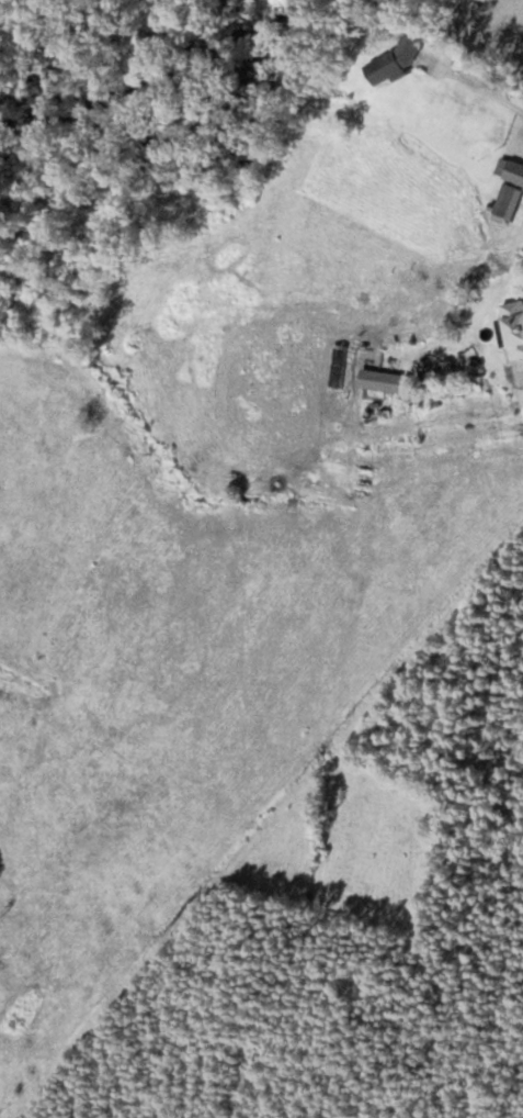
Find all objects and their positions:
building: (396, 57)
building: (508, 188)
building: (513, 326)
building: (382, 380)

